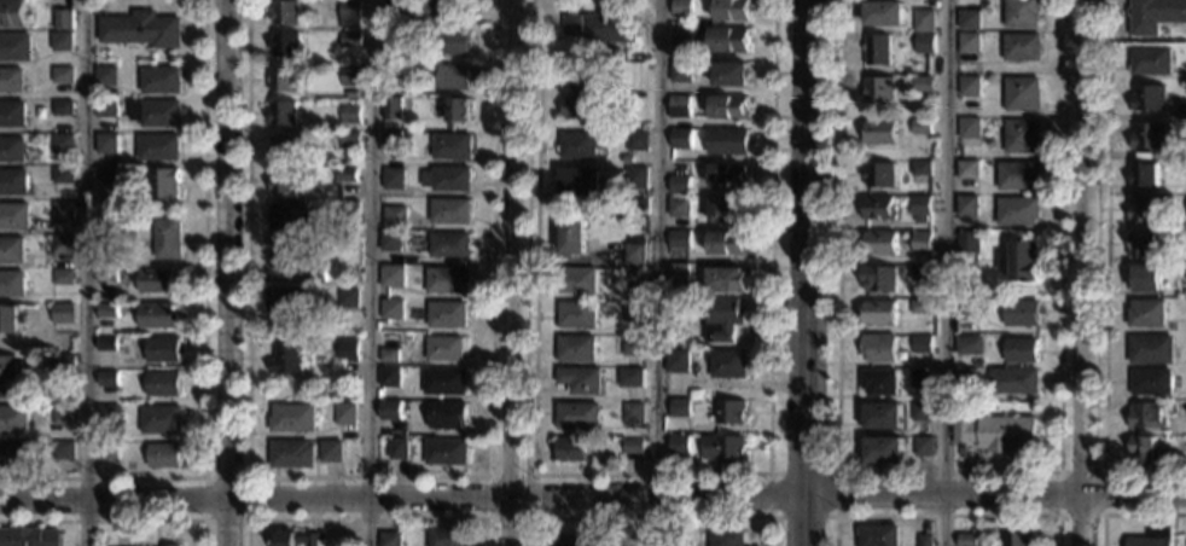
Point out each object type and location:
building: (681, 8)
building: (450, 11)
building: (732, 11)
building: (12, 13)
building: (286, 13)
building: (1022, 13)
building: (350, 14)
building: (883, 14)
building: (1153, 16)
building: (389, 17)
building: (64, 19)
building: (923, 21)
building: (969, 21)
building: (571, 25)
building: (609, 28)
building: (143, 29)
building: (391, 35)
building: (681, 37)
building: (350, 40)
building: (728, 40)
building: (63, 41)
building: (453, 42)
building: (923, 42)
building: (969, 43)
building: (287, 45)
building: (14, 47)
building: (1022, 48)
building: (877, 51)
building: (1147, 62)
building: (903, 70)
building: (680, 71)
building: (394, 72)
building: (729, 74)
building: (63, 75)
building: (106, 75)
building: (349, 76)
building: (453, 76)
building: (1184, 77)
building: (11, 80)
building: (161, 80)
building: (284, 80)
building: (922, 85)
building: (969, 87)
building: (879, 91)
building: (351, 93)
building: (582, 94)
building: (1019, 95)
building: (1145, 99)
building: (679, 106)
building: (62, 108)
building: (728, 108)
building: (106, 109)
building: (391, 109)
building: (459, 110)
building: (156, 112)
building: (12, 114)
building: (284, 114)
building: (349, 114)
building: (1180, 115)
building: (919, 128)
building: (967, 129)
building: (879, 134)
building: (1021, 138)
building: (1145, 138)
building: (680, 139)
building: (349, 140)
building: (638, 141)
building: (62, 143)
building: (391, 143)
building: (727, 143)
building: (106, 144)
building: (580, 145)
building: (452, 146)
building: (158, 147)
building: (284, 147)
building: (12, 150)
building: (1180, 150)
building: (353, 157)
building: (627, 161)
building: (919, 169)
building: (966, 170)
building: (63, 175)
building: (106, 175)
building: (345, 175)
building: (727, 175)
building: (1141, 175)
building: (878, 176)
building: (1018, 176)
building: (635, 178)
building: (393, 179)
building: (450, 179)
building: (283, 181)
building: (580, 181)
building: (13, 182)
building: (163, 184)
building: (679, 185)
building: (966, 207)
building: (679, 208)
building: (879, 209)
building: (919, 209)
building: (349, 210)
building: (728, 210)
building: (1139, 210)
building: (450, 211)
building: (62, 213)
building: (1016, 213)
building: (14, 216)
building: (289, 216)
building: (395, 217)
building: (106, 228)
building: (572, 236)
building: (167, 239)
building: (679, 239)
building: (391, 242)
building: (727, 243)
building: (880, 243)
building: (919, 243)
building: (62, 244)
building: (966, 244)
building: (450, 245)
building: (1136, 245)
building: (11, 250)
building: (634, 251)
building: (281, 252)
building: (1018, 262)
road: (226, 272)
building: (676, 272)
road: (942, 272)
road: (86, 273)
road: (368, 273)
road: (514, 273)
road: (655, 273)
road: (806, 273)
road: (1086, 273)
building: (920, 274)
building: (106, 275)
building: (315, 275)
building: (393, 275)
building: (62, 277)
building: (633, 277)
road: (1103, 277)
building: (878, 279)
building: (1143, 279)
building: (447, 280)
building: (577, 280)
building: (726, 280)
building: (158, 281)
building: (11, 283)
building: (348, 298)
building: (121, 300)
building: (291, 300)
building: (920, 308)
building: (393, 309)
building: (963, 309)
building: (106, 310)
building: (62, 312)
building: (633, 312)
building: (447, 314)
building: (577, 314)
building: (879, 314)
building: (1019, 314)
building: (1143, 314)
building: (157, 316)
building: (10, 319)
building: (670, 319)
building: (720, 320)
road: (202, 339)
building: (105, 344)
building: (920, 344)
building: (632, 345)
building: (967, 345)
building: (444, 348)
building: (576, 348)
building: (878, 349)
building: (163, 350)
building: (348, 350)
building: (1018, 350)
building: (1147, 350)
building: (389, 355)
building: (287, 358)
building: (676, 361)
building: (63, 364)
building: (727, 364)
building: (976, 364)
building: (7, 377)
building: (389, 377)
building: (630, 378)
building: (964, 378)
building: (106, 379)
building: (919, 379)
building: (580, 381)
building: (444, 382)
building: (1011, 382)
building: (878, 383)
building: (163, 384)
building: (1147, 384)
building: (347, 395)
building: (679, 407)
building: (390, 409)
building: (729, 412)
building: (919, 412)
building: (632, 413)
building: (106, 414)
building: (344, 414)
building: (63, 416)
building: (447, 416)
building: (577, 416)
building: (1146, 416)
building: (882, 417)
building: (292, 418)
building: (159, 419)
building: (13, 420)
building: (996, 434)
building: (679, 445)
building: (633, 446)
building: (922, 447)
building: (727, 448)
building: (397, 449)
building: (63, 451)
building: (571, 451)
building: (882, 451)
building: (1139, 451)
building: (331, 452)
building: (446, 452)
building: (106, 453)
building: (291, 454)
building: (163, 455)
building: (14, 457)
road: (944, 471)
road: (1100, 471)
road: (649, 474)
road: (367, 476)
road: (246, 477)
road: (592, 501)
road: (1127, 515)
road: (833, 516)
road: (946, 516)
road: (533, 517)
road: (650, 517)
road: (367, 519)
road: (114, 521)
building: (874, 535)
building: (29, 536)
building: (447, 536)
building: (1013, 536)
building: (297, 538)
building: (726, 538)
building: (1150, 538)
building: (390, 539)
building: (675, 540)
building: (922, 540)
building: (964, 540)
building: (569, 542)
building: (169, 545)

